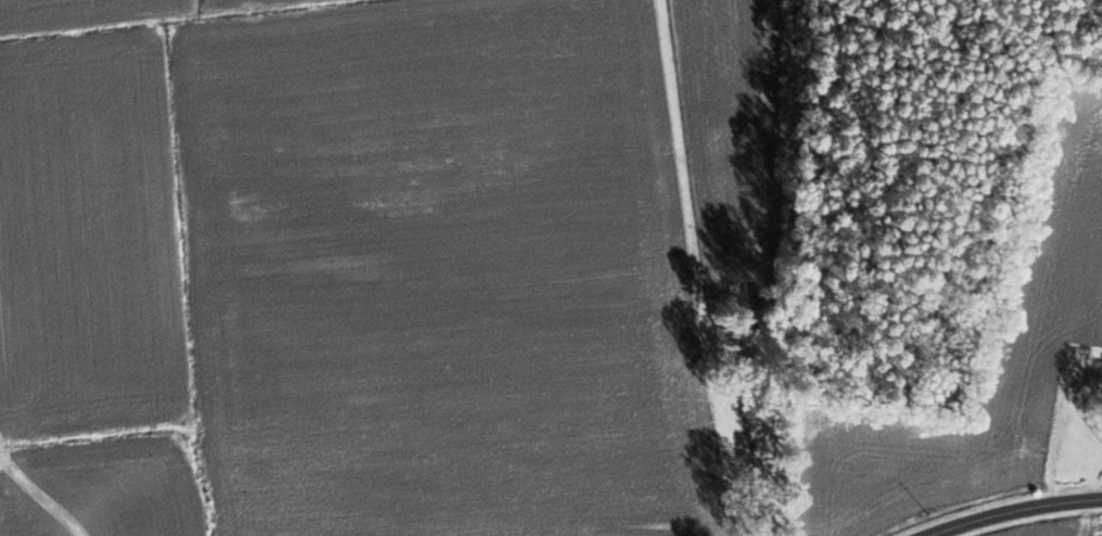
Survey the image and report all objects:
road: (757, 458)
road: (1004, 508)

